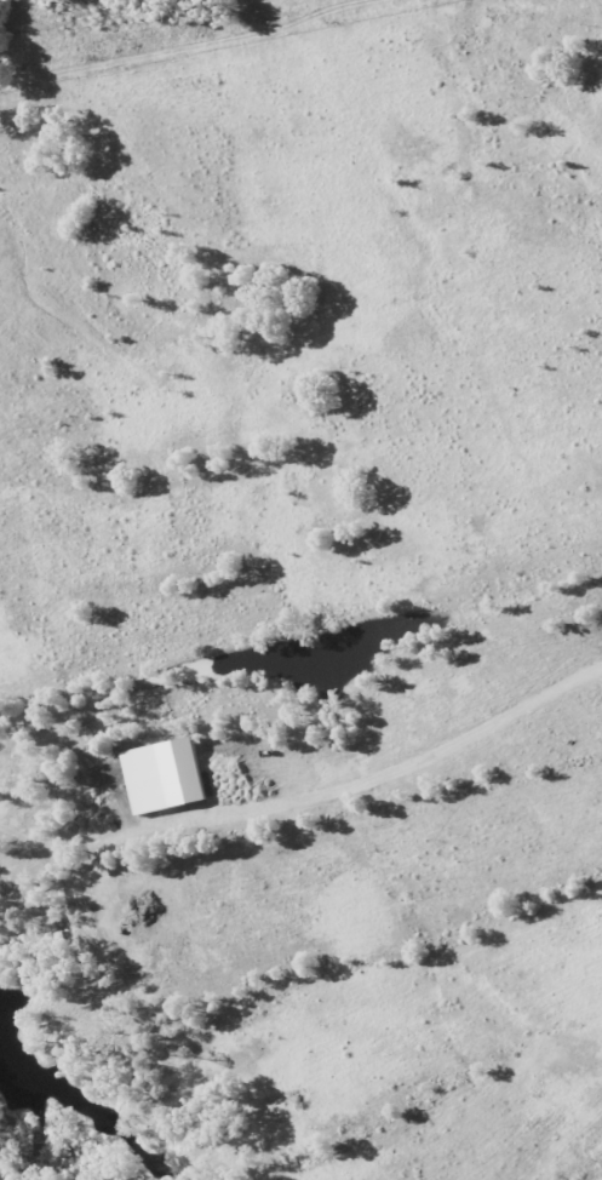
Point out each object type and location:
building: (166, 775)

